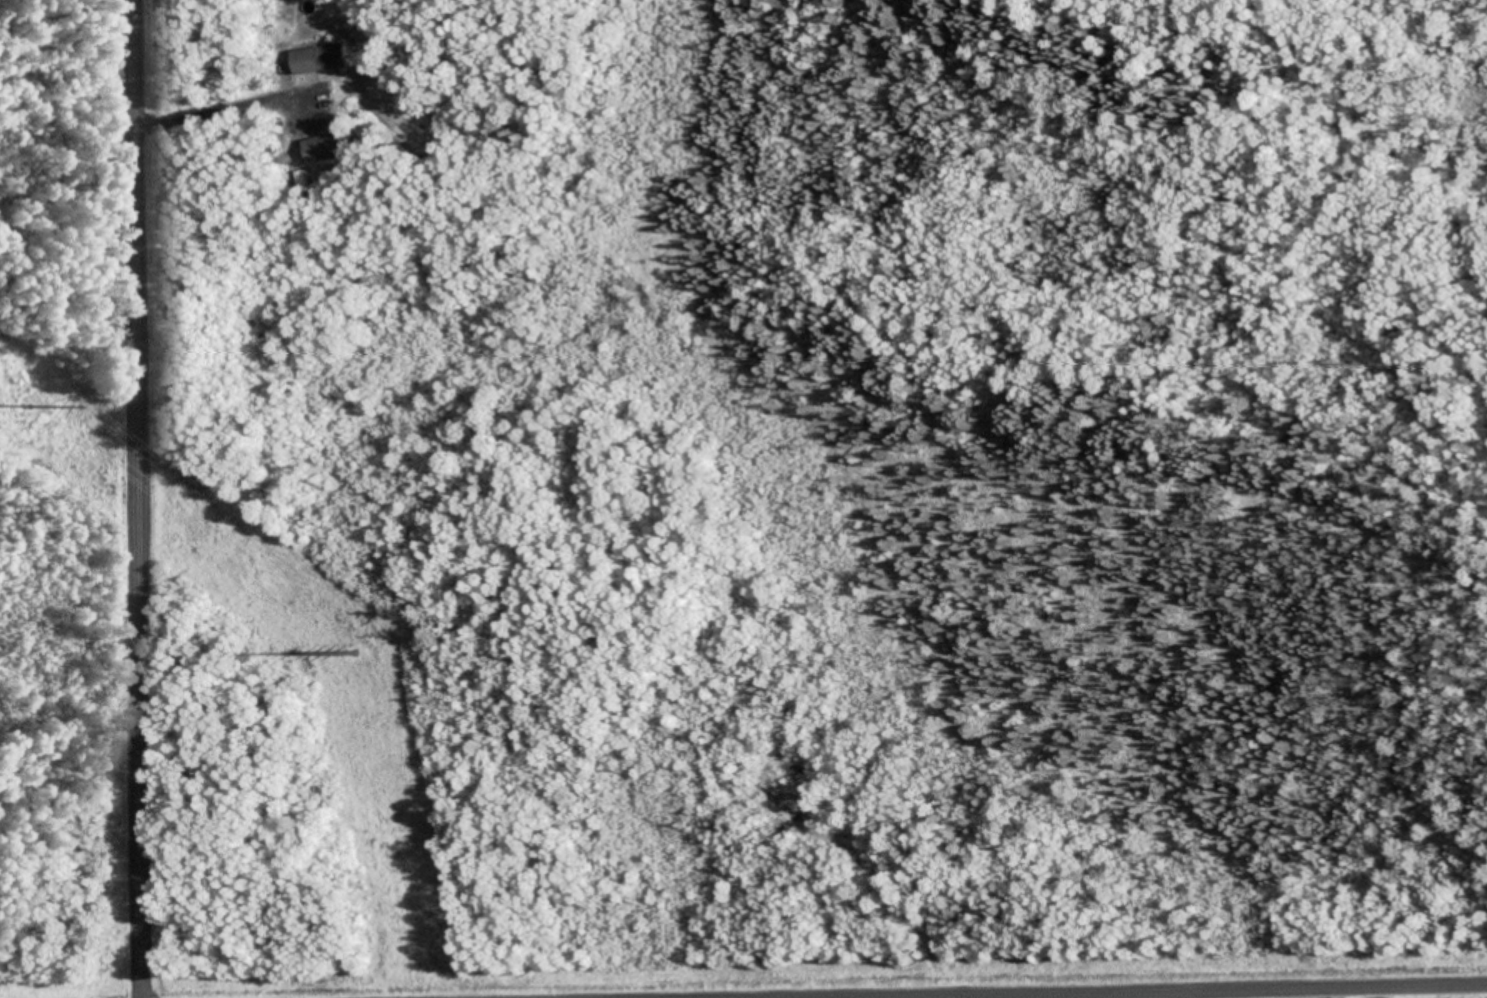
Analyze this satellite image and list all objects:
building: (317, 62)
building: (324, 150)
power tower: (30, 407)
road: (139, 498)
power tower: (357, 654)
road: (1235, 993)

